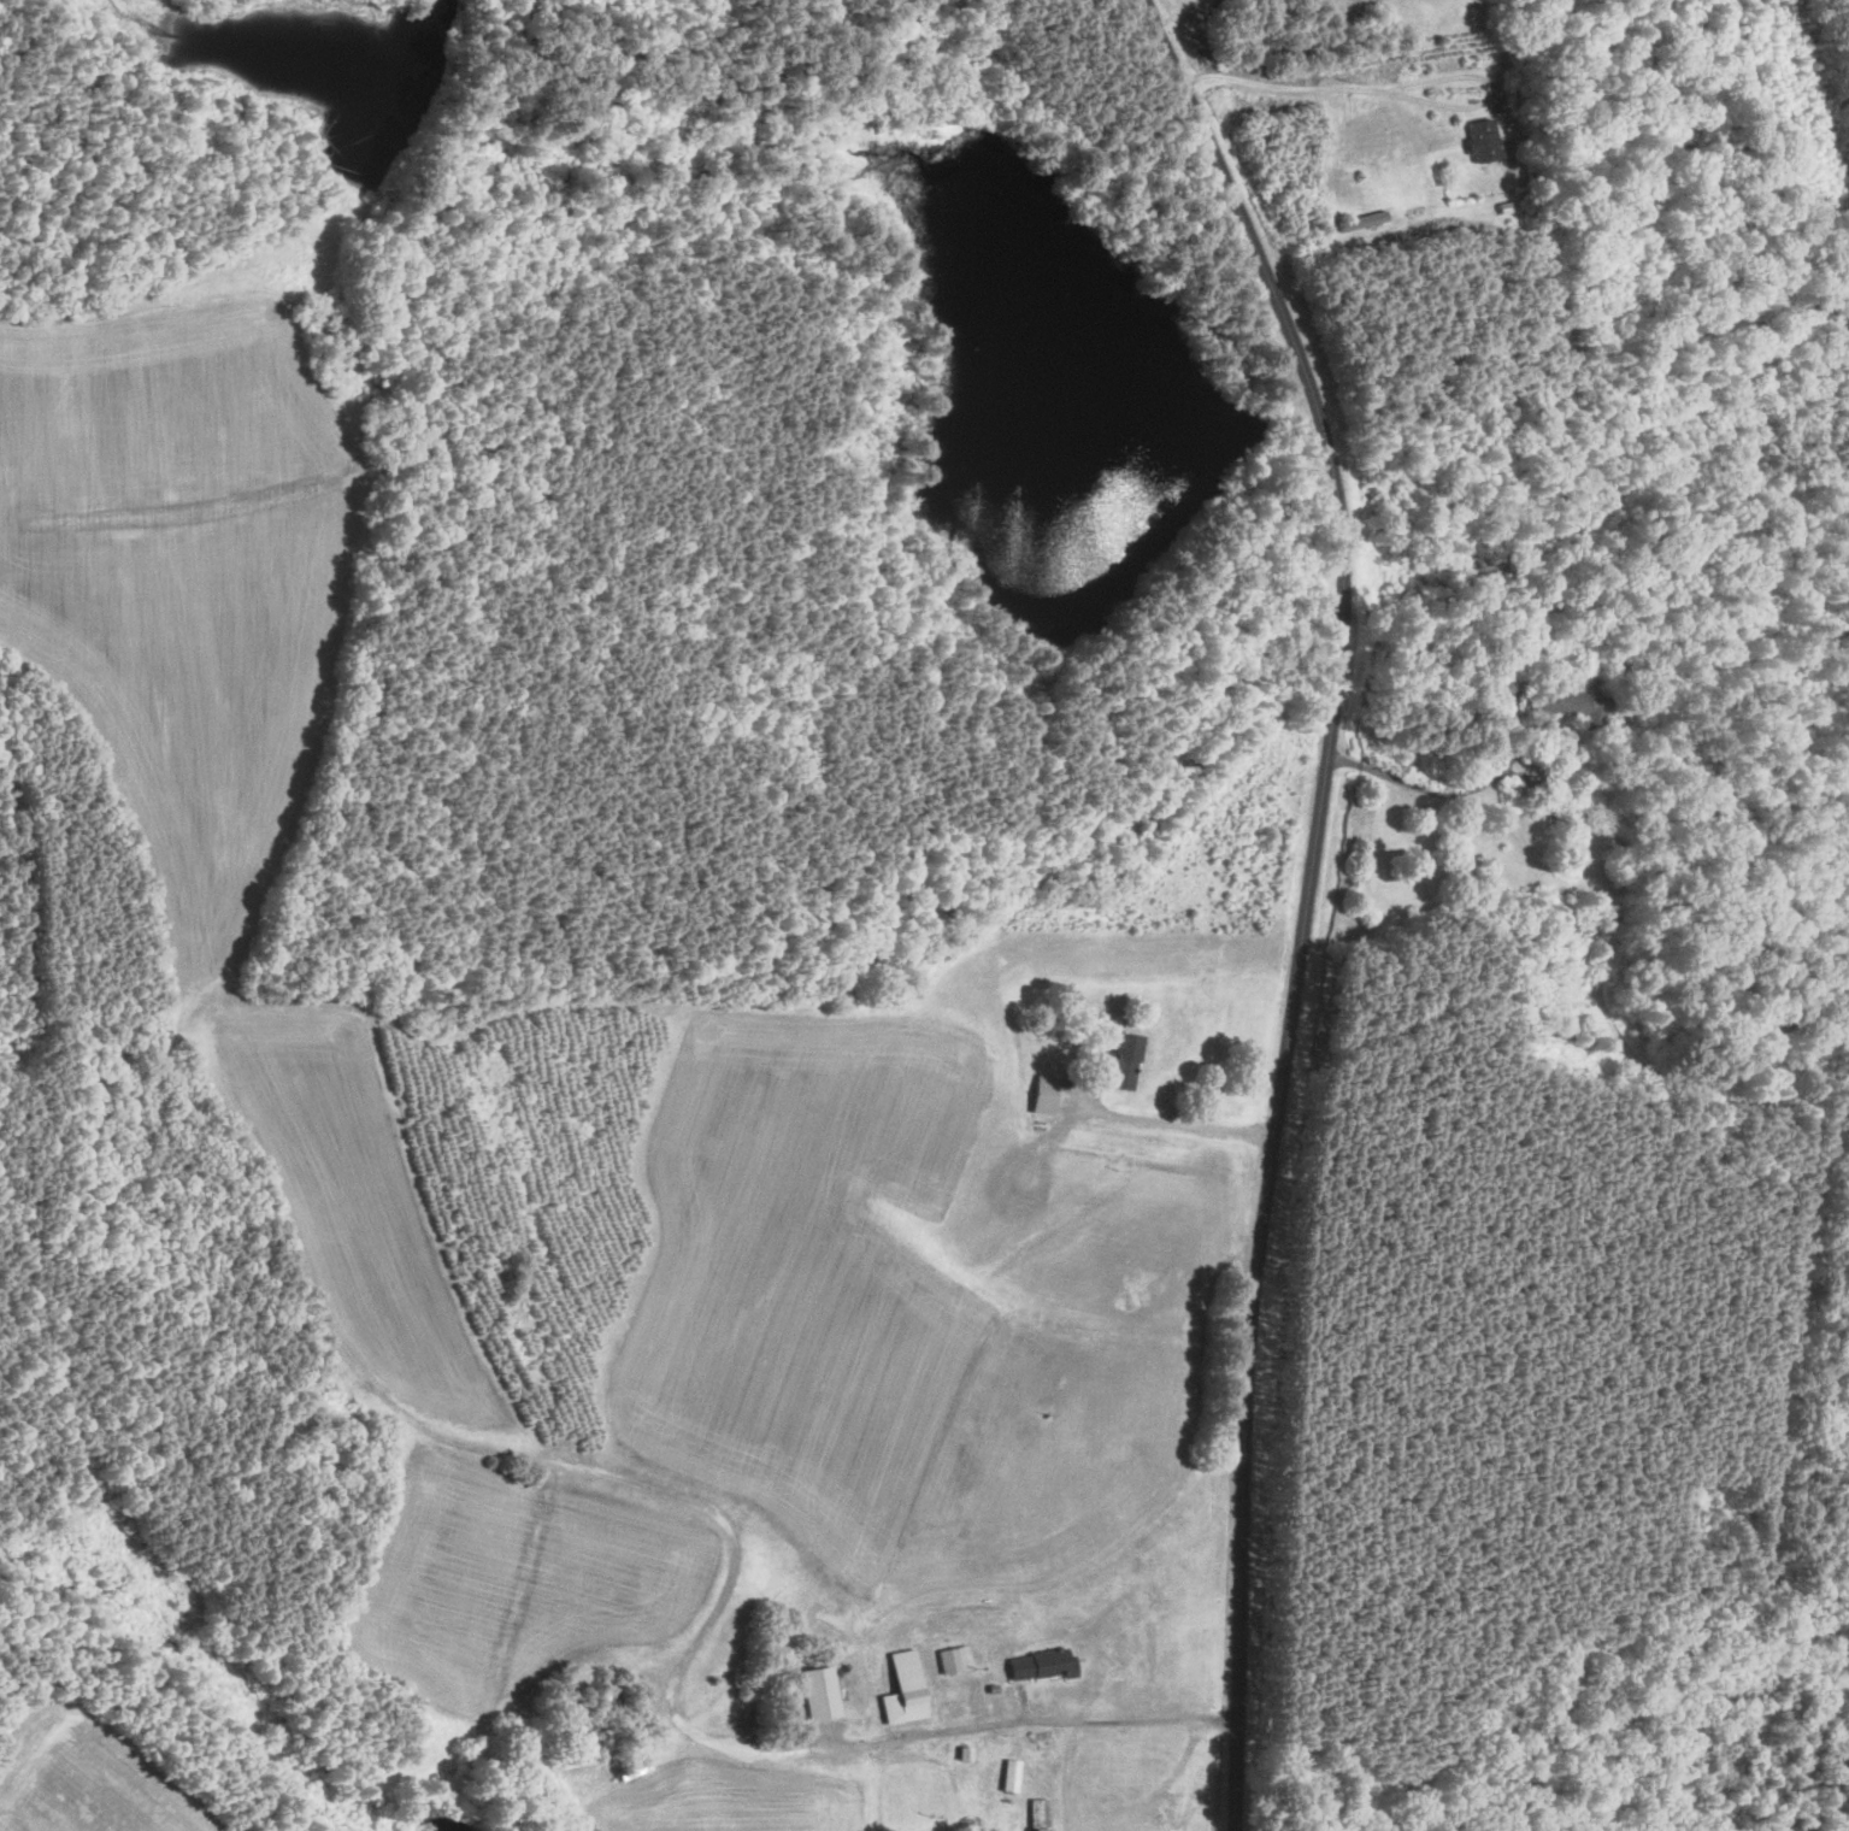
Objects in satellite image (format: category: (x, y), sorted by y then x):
building: (1479, 140)
road: (341, 535)
building: (1574, 703)
road: (1312, 897)
building: (1118, 1062)
building: (1038, 1096)
road: (1183, 1126)
road: (548, 1460)
building: (952, 1659)
building: (1036, 1665)
building: (900, 1689)
building: (813, 1692)
building: (1006, 1776)

